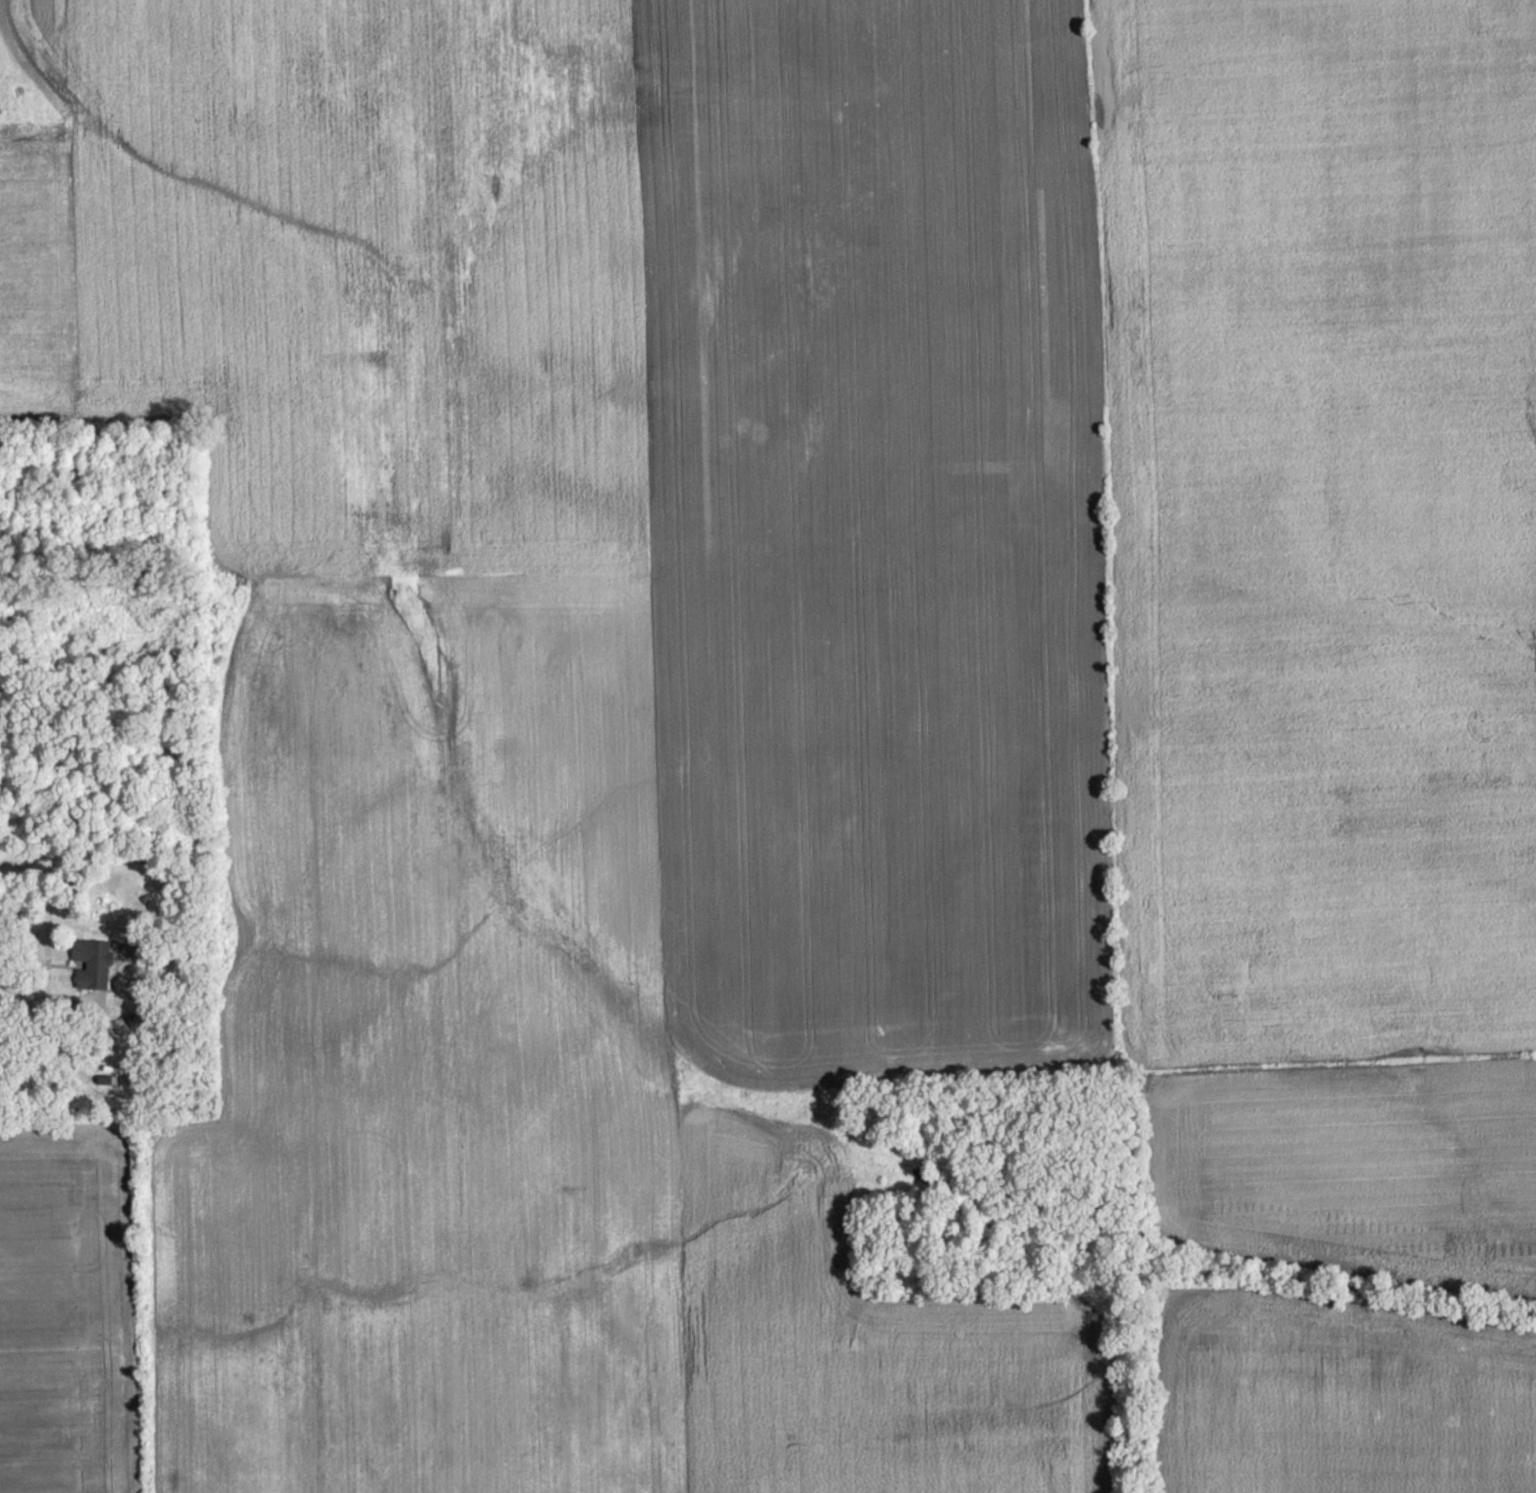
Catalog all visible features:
road: (50, 934)
building: (92, 964)

